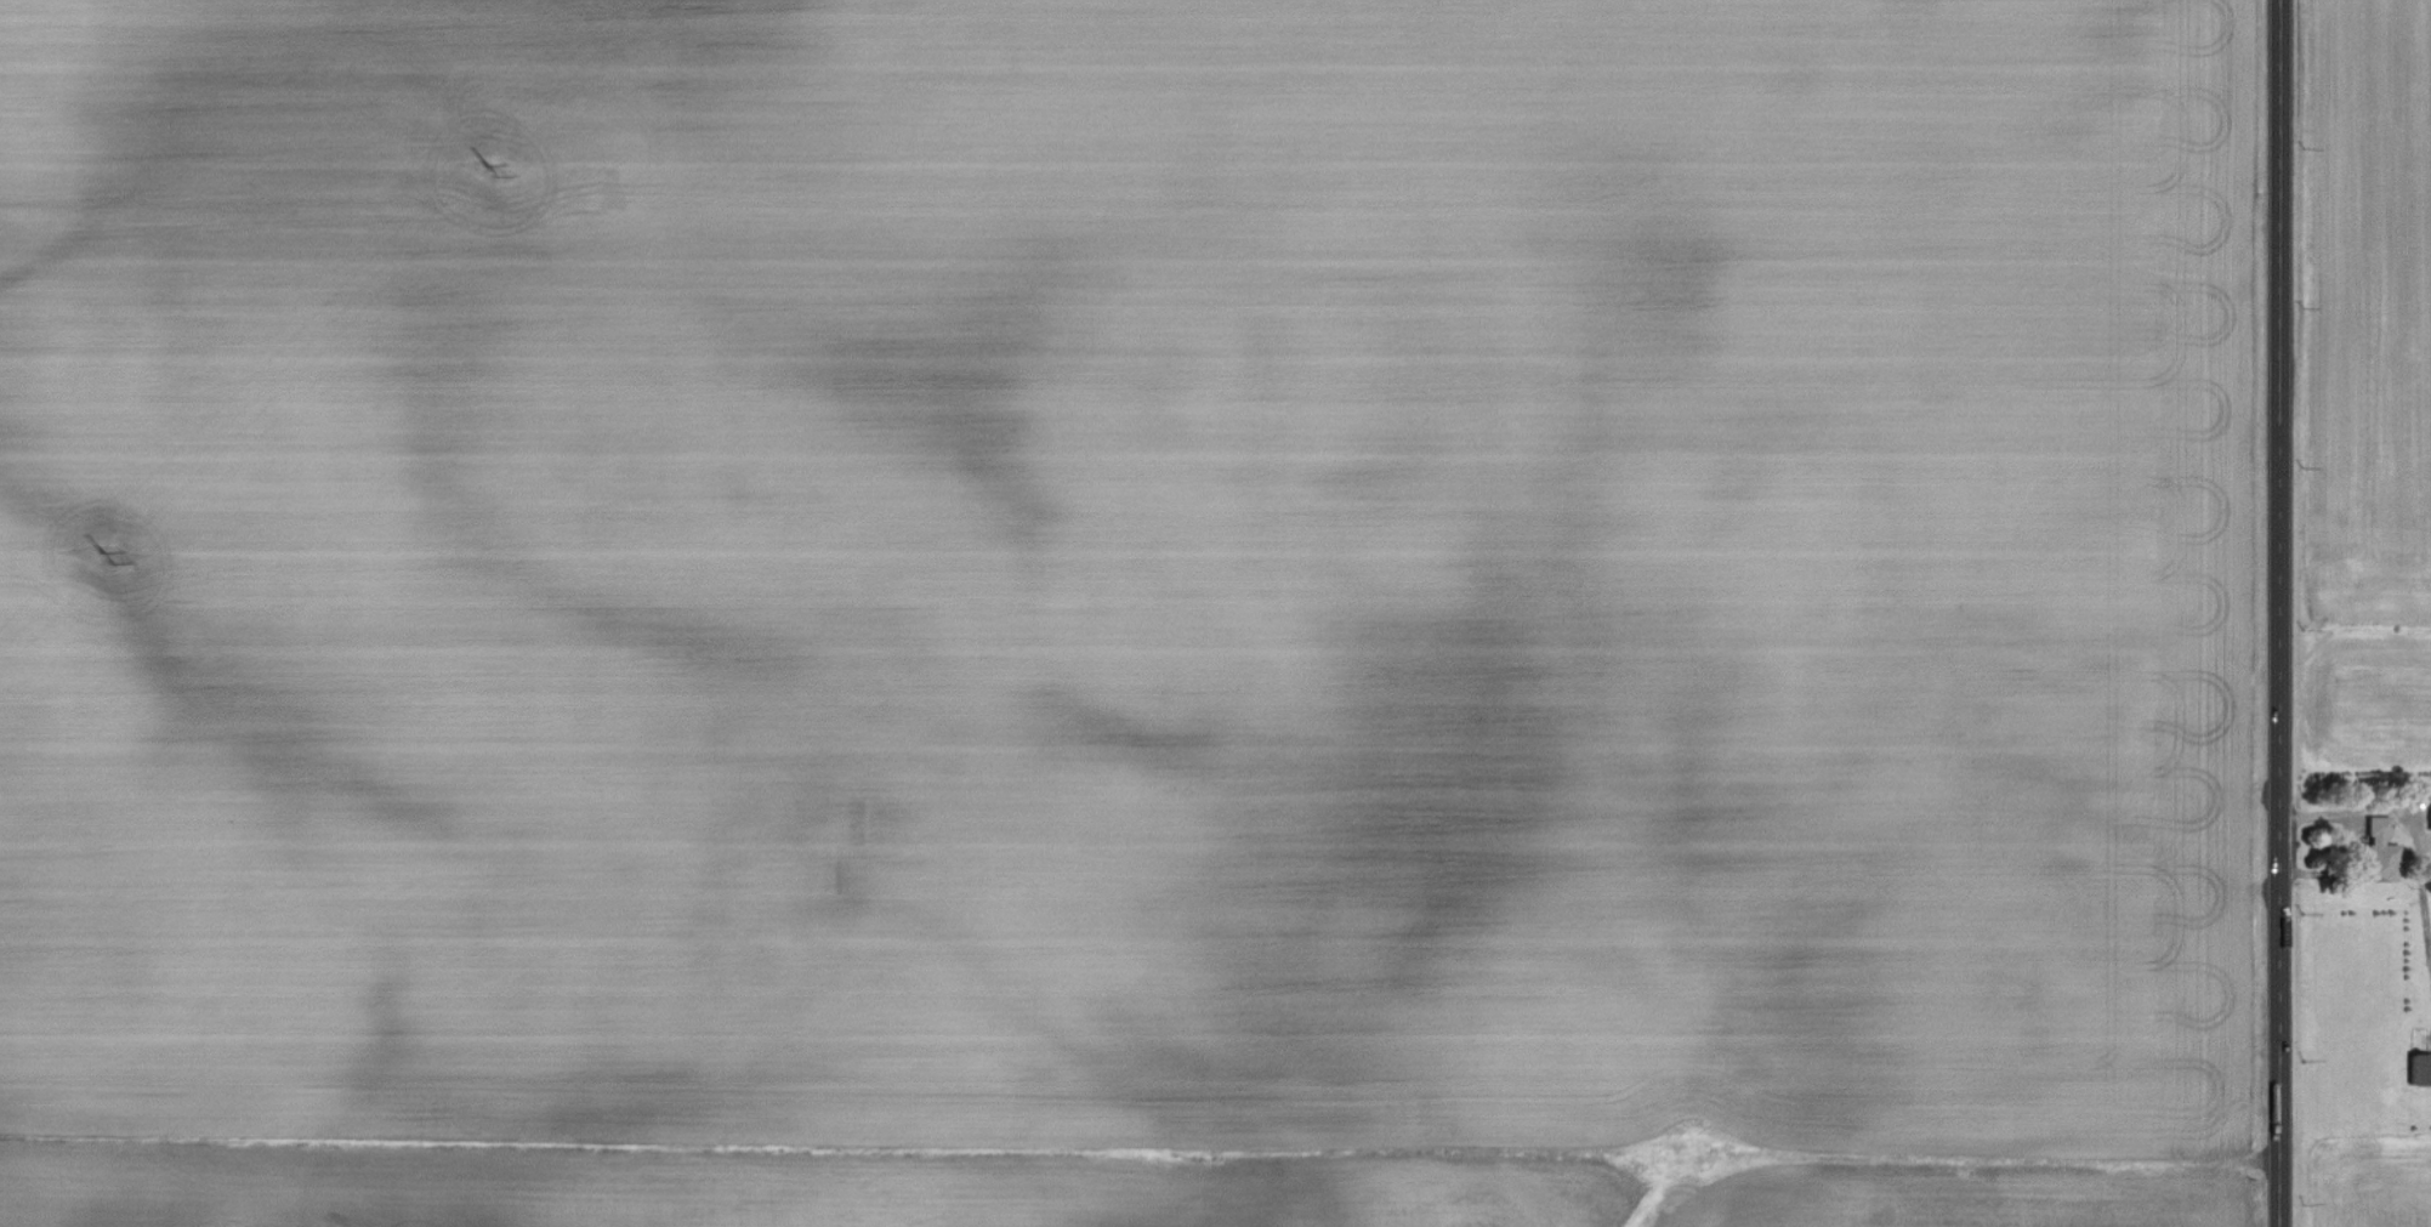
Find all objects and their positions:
power tower: (493, 171)
power tower: (108, 557)
road: (2276, 613)
building: (2376, 830)
building: (2420, 1069)

